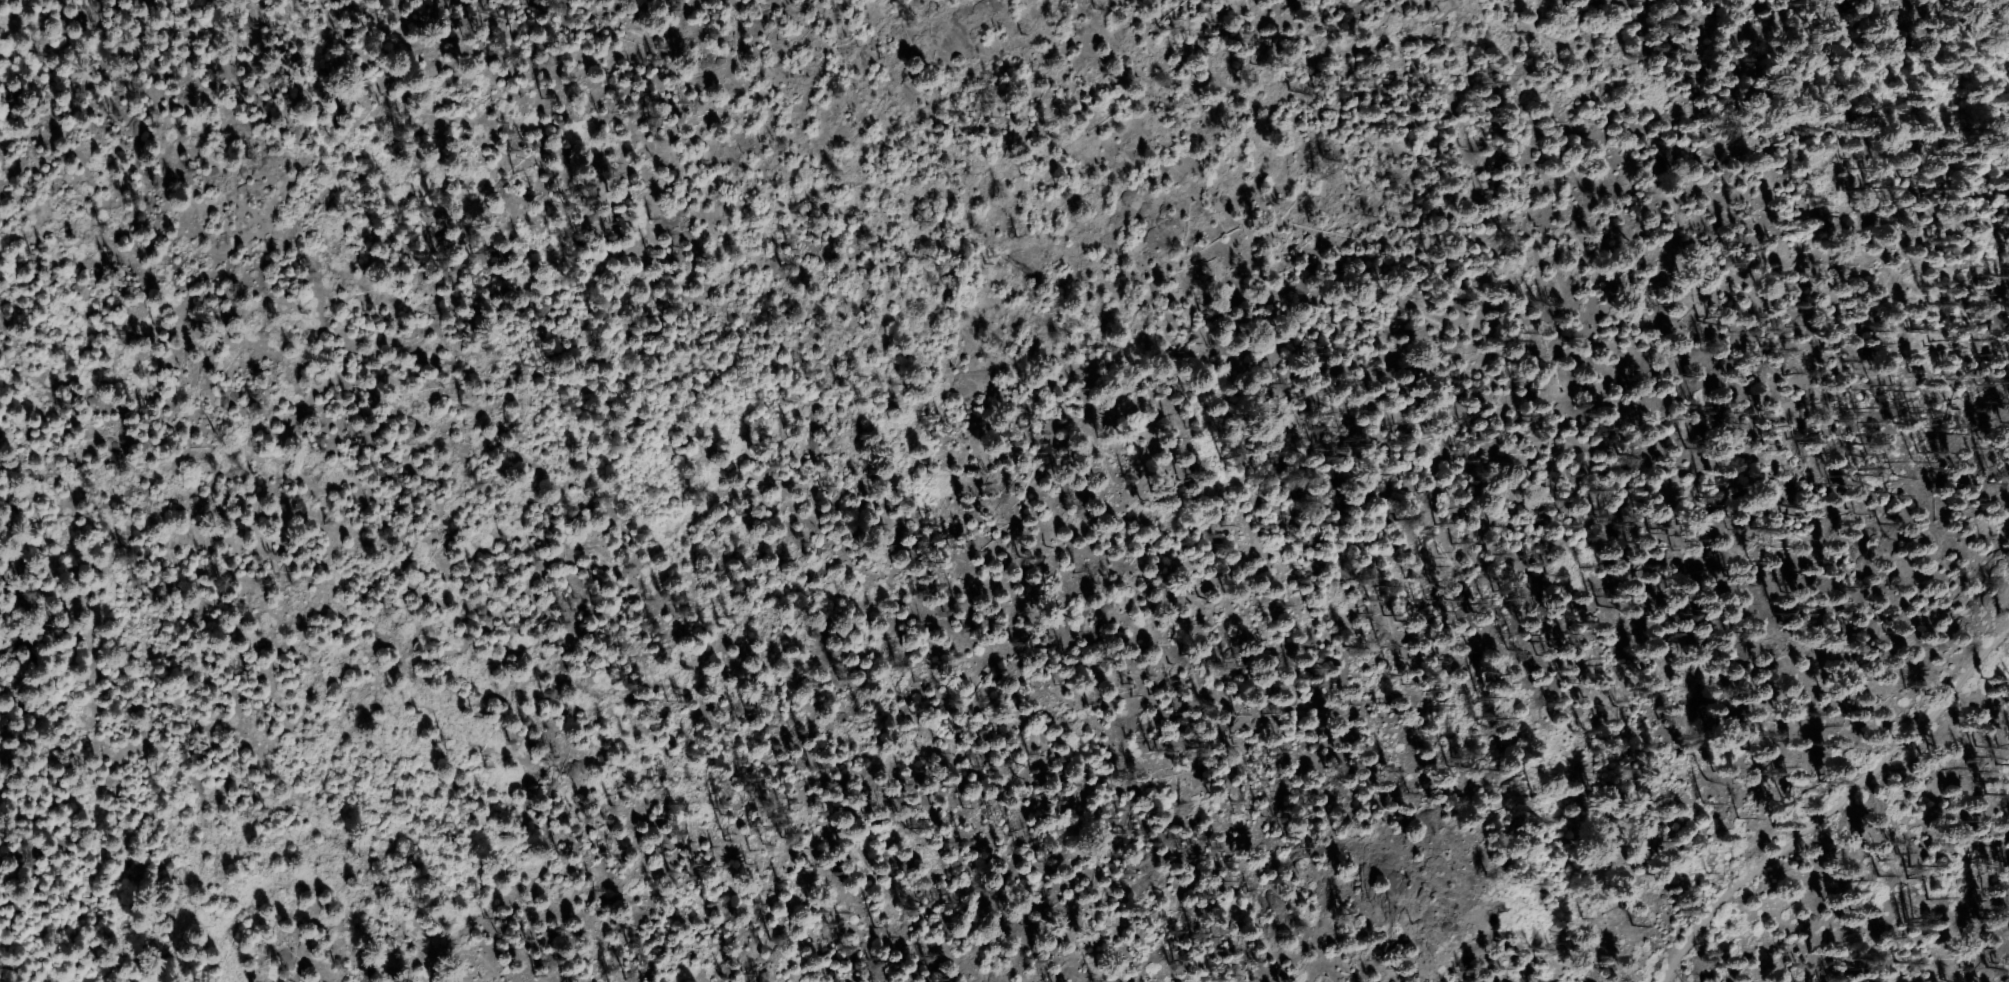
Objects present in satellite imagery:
road: (1834, 804)

